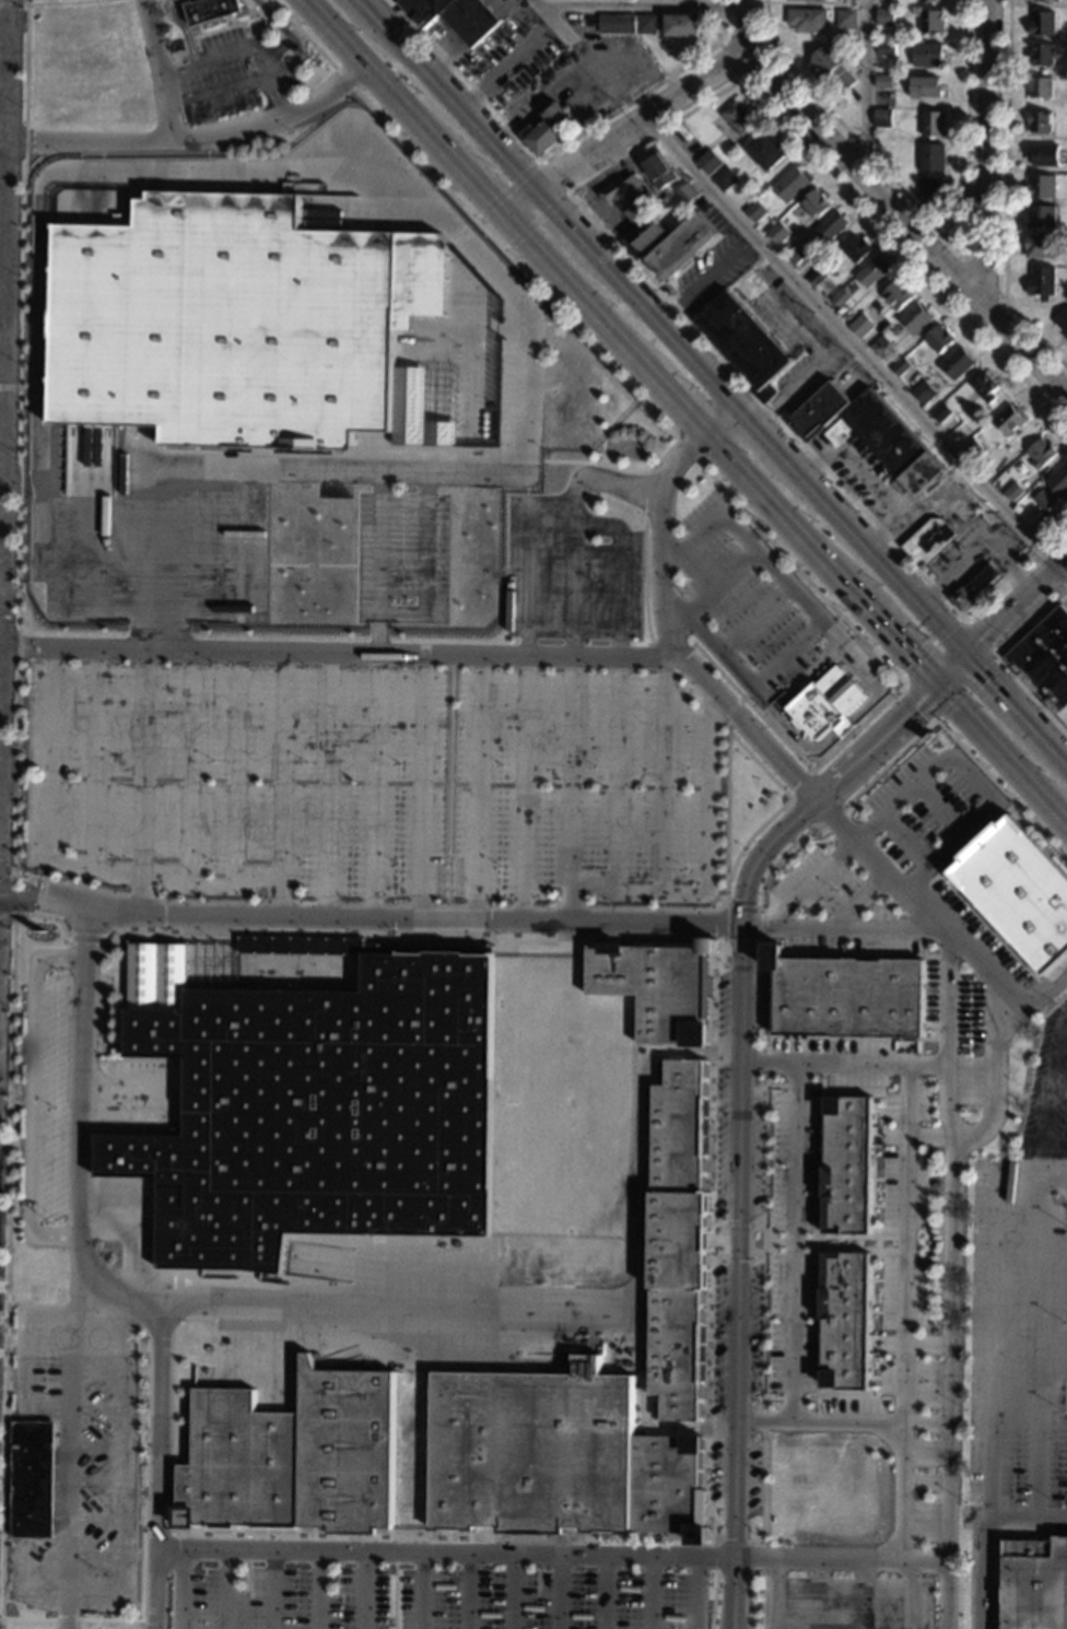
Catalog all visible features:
building: (819, 0)
building: (930, 0)
building: (1047, 0)
road: (14, 2)
road: (643, 4)
road: (370, 8)
building: (213, 11)
building: (456, 16)
building: (884, 16)
building: (846, 17)
road: (553, 19)
building: (807, 20)
building: (930, 21)
building: (615, 23)
building: (645, 23)
road: (747, 23)
building: (1042, 23)
building: (682, 25)
road: (185, 32)
road: (292, 39)
road: (9, 43)
building: (886, 48)
building: (1041, 54)
building: (926, 55)
road: (222, 57)
building: (830, 66)
road: (744, 70)
road: (377, 77)
road: (865, 80)
building: (882, 81)
road: (162, 82)
road: (237, 84)
building: (925, 86)
building: (1039, 87)
road: (459, 102)
building: (737, 117)
building: (881, 117)
road: (645, 120)
building: (1039, 121)
building: (931, 122)
building: (549, 127)
road: (197, 140)
road: (554, 149)
road: (985, 151)
building: (766, 152)
building: (1042, 154)
building: (930, 156)
building: (708, 162)
building: (659, 167)
road: (59, 169)
road: (554, 175)
building: (724, 178)
building: (790, 184)
road: (479, 185)
building: (1041, 186)
road: (506, 189)
building: (927, 189)
building: (685, 194)
building: (95, 195)
road: (1005, 196)
building: (632, 197)
road: (579, 201)
road: (524, 202)
building: (814, 202)
building: (755, 211)
building: (1040, 216)
road: (567, 219)
road: (907, 220)
road: (536, 221)
road: (936, 225)
road: (7, 226)
building: (829, 226)
building: (777, 232)
building: (644, 236)
building: (682, 245)
building: (1041, 246)
building: (855, 248)
building: (796, 254)
road: (482, 255)
road: (970, 261)
building: (871, 271)
road: (704, 277)
building: (817, 278)
building: (1042, 282)
road: (577, 294)
building: (898, 295)
building: (840, 297)
building: (916, 318)
building: (1063, 324)
building: (859, 327)
building: (238, 328)
road: (666, 328)
building: (939, 339)
building: (742, 340)
road: (586, 342)
building: (879, 344)
road: (856, 349)
road: (10, 350)
building: (957, 364)
building: (900, 366)
road: (2, 367)
road: (799, 380)
road: (11, 387)
building: (985, 388)
building: (919, 389)
building: (765, 392)
road: (21, 394)
road: (677, 401)
parking lot: (570, 411)
building: (819, 411)
building: (941, 412)
road: (4, 414)
road: (722, 420)
building: (1009, 420)
road: (762, 434)
building: (887, 443)
building: (973, 450)
building: (1041, 454)
road: (615, 468)
road: (331, 471)
building: (1053, 489)
building: (1012, 492)
road: (646, 495)
road: (775, 507)
building: (928, 540)
road: (877, 556)
road: (52, 561)
parking lot: (241, 561)
parking lot: (546, 570)
road: (645, 582)
building: (974, 588)
road: (712, 590)
parking lot: (749, 594)
road: (1, 601)
road: (575, 603)
road: (1017, 606)
parking lot: (1064, 606)
road: (809, 607)
road: (754, 619)
road: (890, 632)
road: (0, 641)
road: (669, 645)
road: (339, 648)
traffic signals: (968, 653)
road: (996, 655)
road: (1000, 660)
building: (1045, 661)
road: (952, 667)
road: (192, 675)
road: (236, 675)
road: (98, 677)
traffic signals: (937, 682)
road: (618, 689)
road: (283, 693)
road: (331, 694)
road: (144, 695)
road: (377, 695)
road: (423, 696)
road: (479, 698)
road: (1009, 698)
road: (525, 699)
building: (828, 704)
road: (728, 711)
road: (848, 720)
road: (1000, 750)
road: (793, 751)
road: (1059, 751)
road: (890, 763)
road: (663, 774)
parking lot: (237, 777)
road: (973, 777)
road: (825, 786)
parking lot: (584, 787)
road: (1001, 790)
road: (784, 804)
parking lot: (935, 808)
road: (939, 808)
road: (797, 817)
road: (1065, 820)
road: (907, 839)
road: (778, 857)
road: (707, 860)
road: (57, 863)
road: (7, 868)
road: (812, 877)
traffic signals: (19, 892)
road: (13, 893)
building: (1018, 893)
road: (864, 900)
road: (453, 906)
road: (761, 906)
parking lot: (836, 910)
road: (7, 917)
road: (163, 918)
road: (368, 918)
road: (841, 927)
road: (87, 934)
road: (412, 940)
building: (707, 948)
building: (774, 957)
road: (950, 965)
building: (656, 989)
building: (849, 997)
parking lot: (761, 999)
road: (1034, 1000)
parking lot: (971, 1001)
road: (1066, 1028)
road: (996, 1042)
road: (679, 1052)
road: (769, 1054)
parking lot: (839, 1060)
road: (843, 1064)
road: (128, 1091)
road: (1051, 1094)
parking lot: (723, 1095)
road: (32, 1097)
parking lot: (910, 1101)
building: (313, 1103)
parking lot: (90, 1106)
road: (735, 1116)
parking lot: (794, 1125)
road: (85, 1129)
road: (917, 1137)
parking lot: (758, 1148)
building: (848, 1164)
parking lot: (906, 1192)
parking lot: (795, 1198)
road: (117, 1226)
building: (679, 1239)
road: (5, 1240)
road: (795, 1242)
parking lot: (793, 1285)
parking lot: (905, 1292)
road: (990, 1302)
road: (528, 1308)
road: (906, 1311)
building: (846, 1321)
parking lot: (755, 1326)
parking lot: (1018, 1333)
road: (1036, 1341)
road: (913, 1343)
road: (24, 1355)
parking lot: (792, 1357)
road: (98, 1371)
parking lot: (718, 1380)
road: (708, 1402)
road: (1029, 1403)
road: (98, 1407)
road: (643, 1411)
parking lot: (855, 1415)
road: (840, 1421)
road: (97, 1446)
parking lot: (924, 1449)
road: (71, 1452)
parking lot: (80, 1456)
building: (292, 1457)
building: (555, 1457)
road: (124, 1465)
road: (160, 1466)
parking lot: (752, 1476)
building: (33, 1480)
building: (1005, 1480)
road: (97, 1481)
parking lot: (965, 1516)
road: (96, 1521)
road: (981, 1530)
road: (173, 1535)
building: (699, 1535)
road: (154, 1536)
road: (747, 1542)
road: (998, 1547)
road: (395, 1551)
road: (552, 1554)
road: (96, 1557)
road: (21, 1574)
building: (1034, 1584)
road: (179, 1590)
road: (224, 1590)
road: (271, 1590)
road: (319, 1590)
road: (363, 1591)
road: (421, 1591)
road: (470, 1591)
road: (513, 1591)
road: (559, 1592)
road: (605, 1592)
road: (649, 1592)
road: (697, 1592)
road: (774, 1593)
road: (819, 1593)
road: (866, 1594)
road: (911, 1594)
road: (392, 1596)
parking lot: (278, 1598)
parking lot: (549, 1599)
road: (713, 1601)
road: (751, 1601)
parking lot: (846, 1603)
road: (112, 1619)

